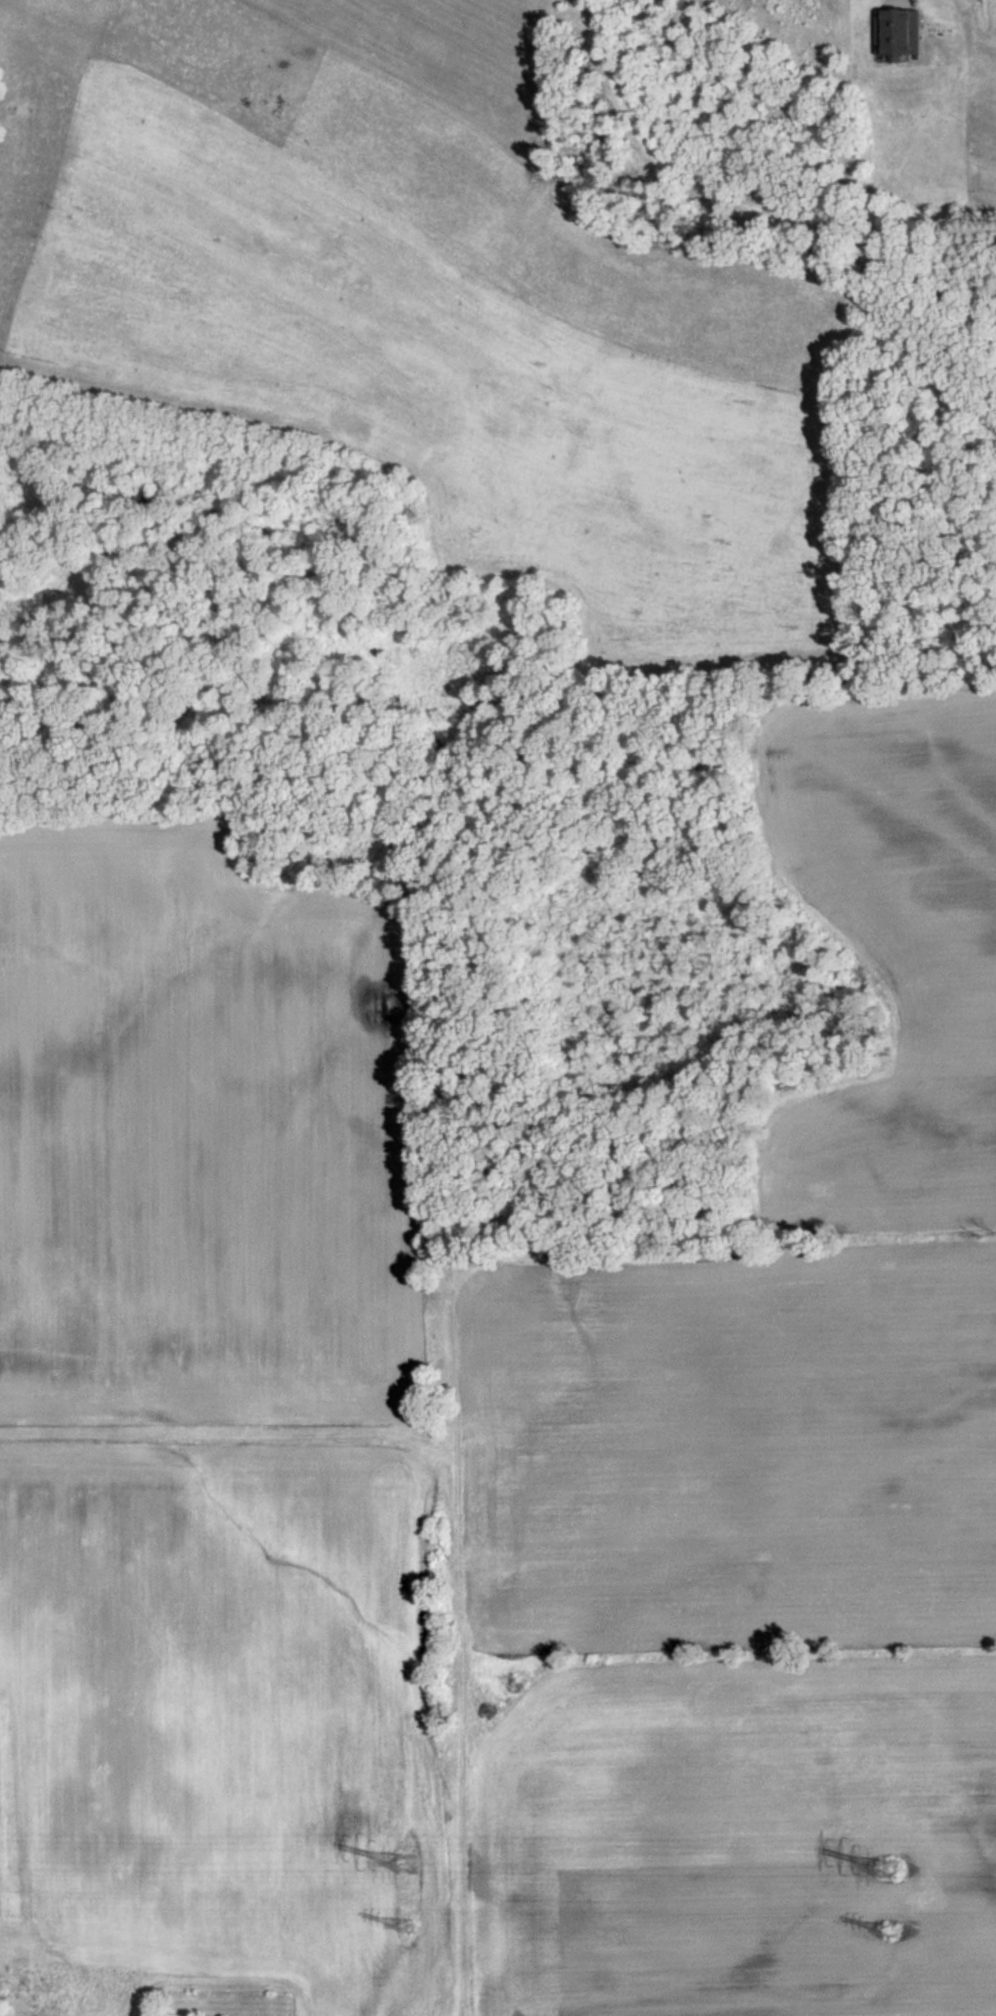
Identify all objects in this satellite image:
power tower: (400, 1864)
power tower: (883, 1868)
power tower: (405, 1927)
power tower: (890, 1931)

